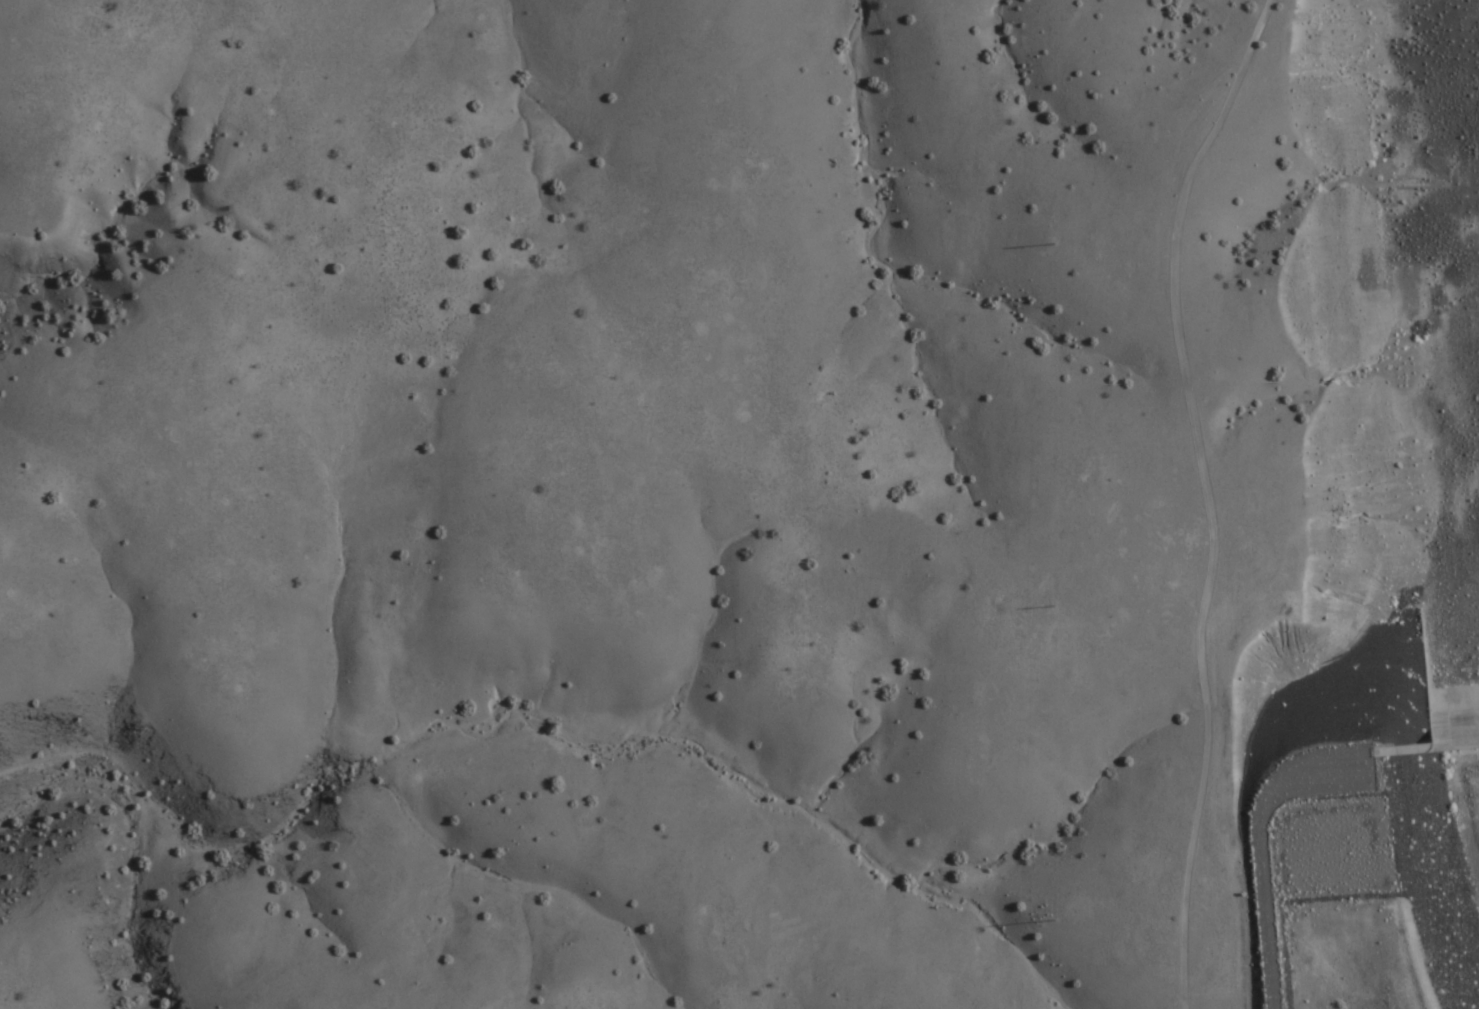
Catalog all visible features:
dam: (1360, 808)
road: (1267, 847)

